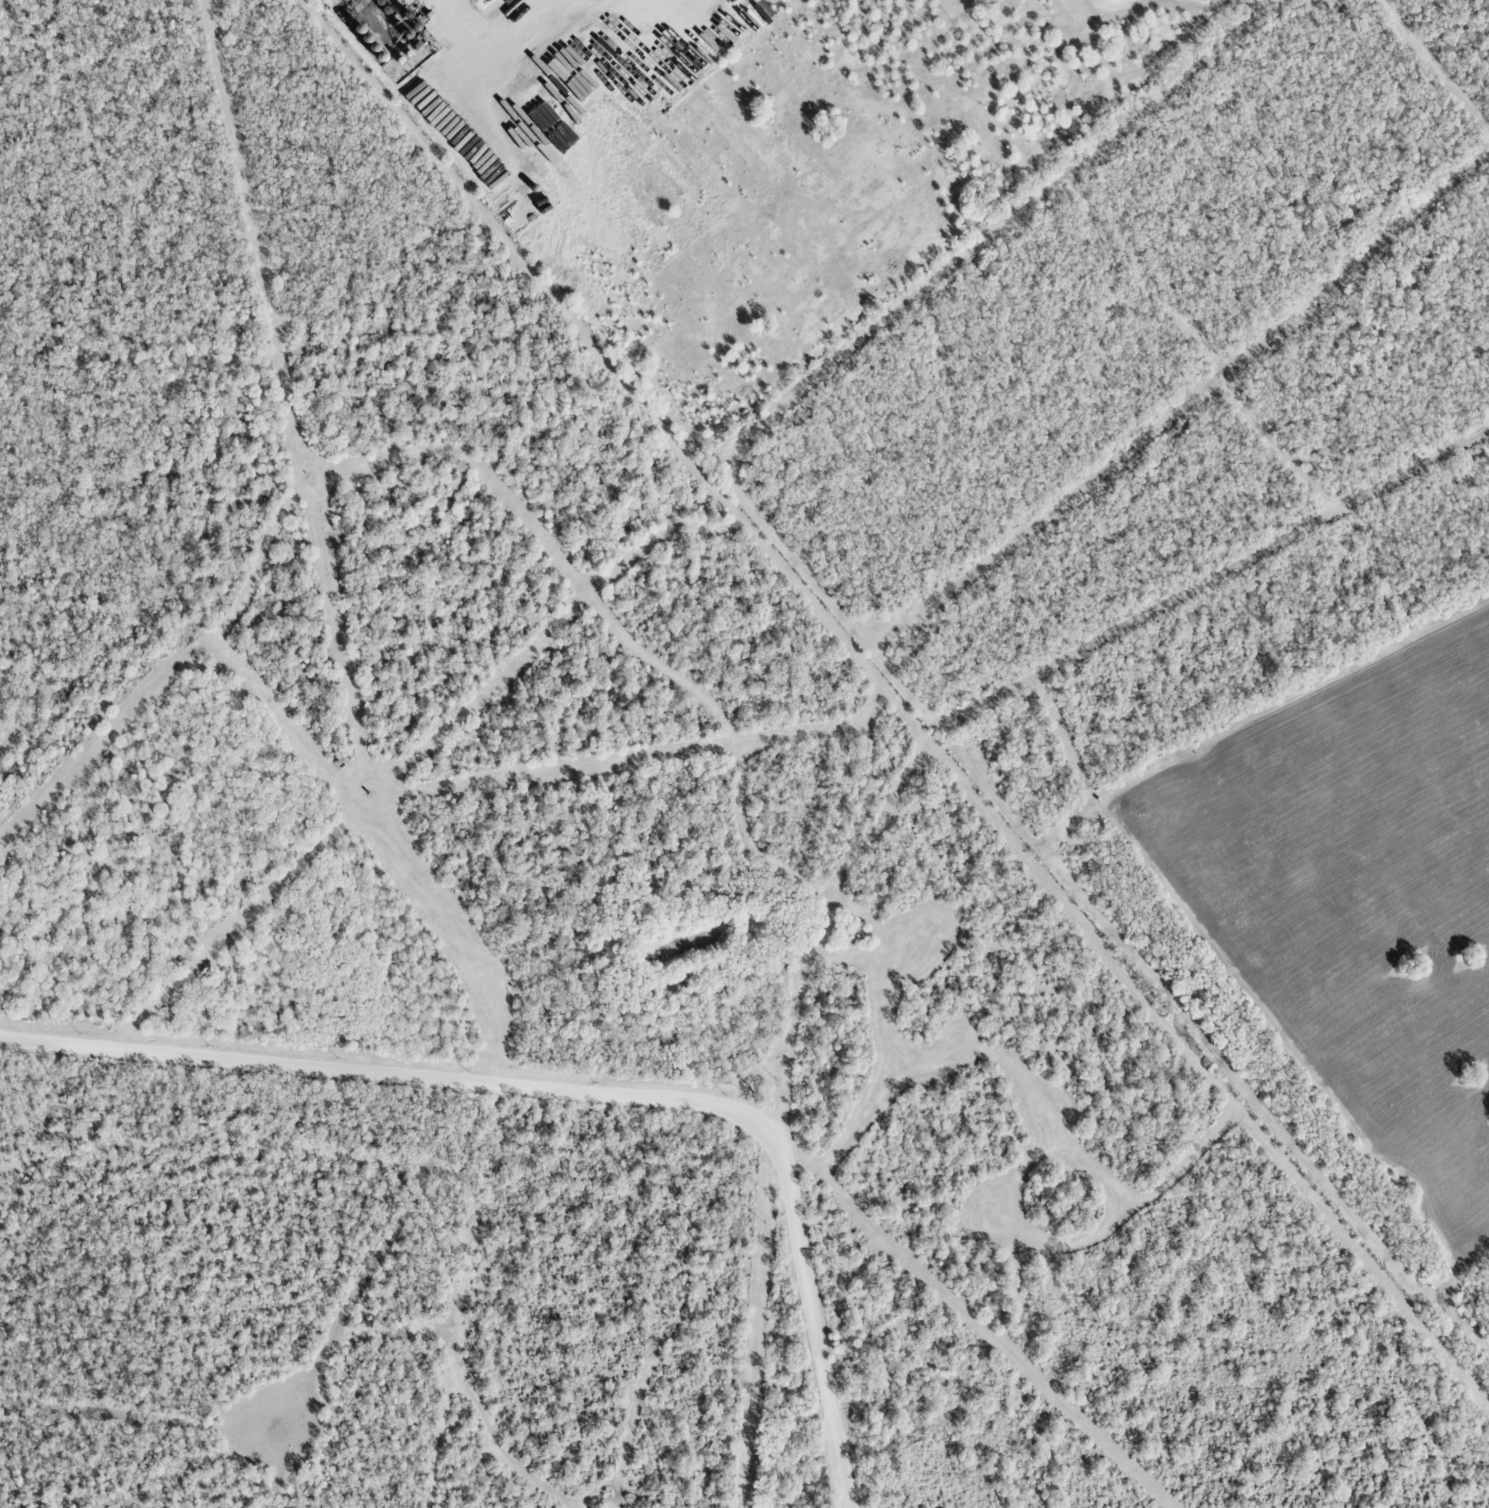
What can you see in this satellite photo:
road: (530, 80)
road: (583, 1084)

